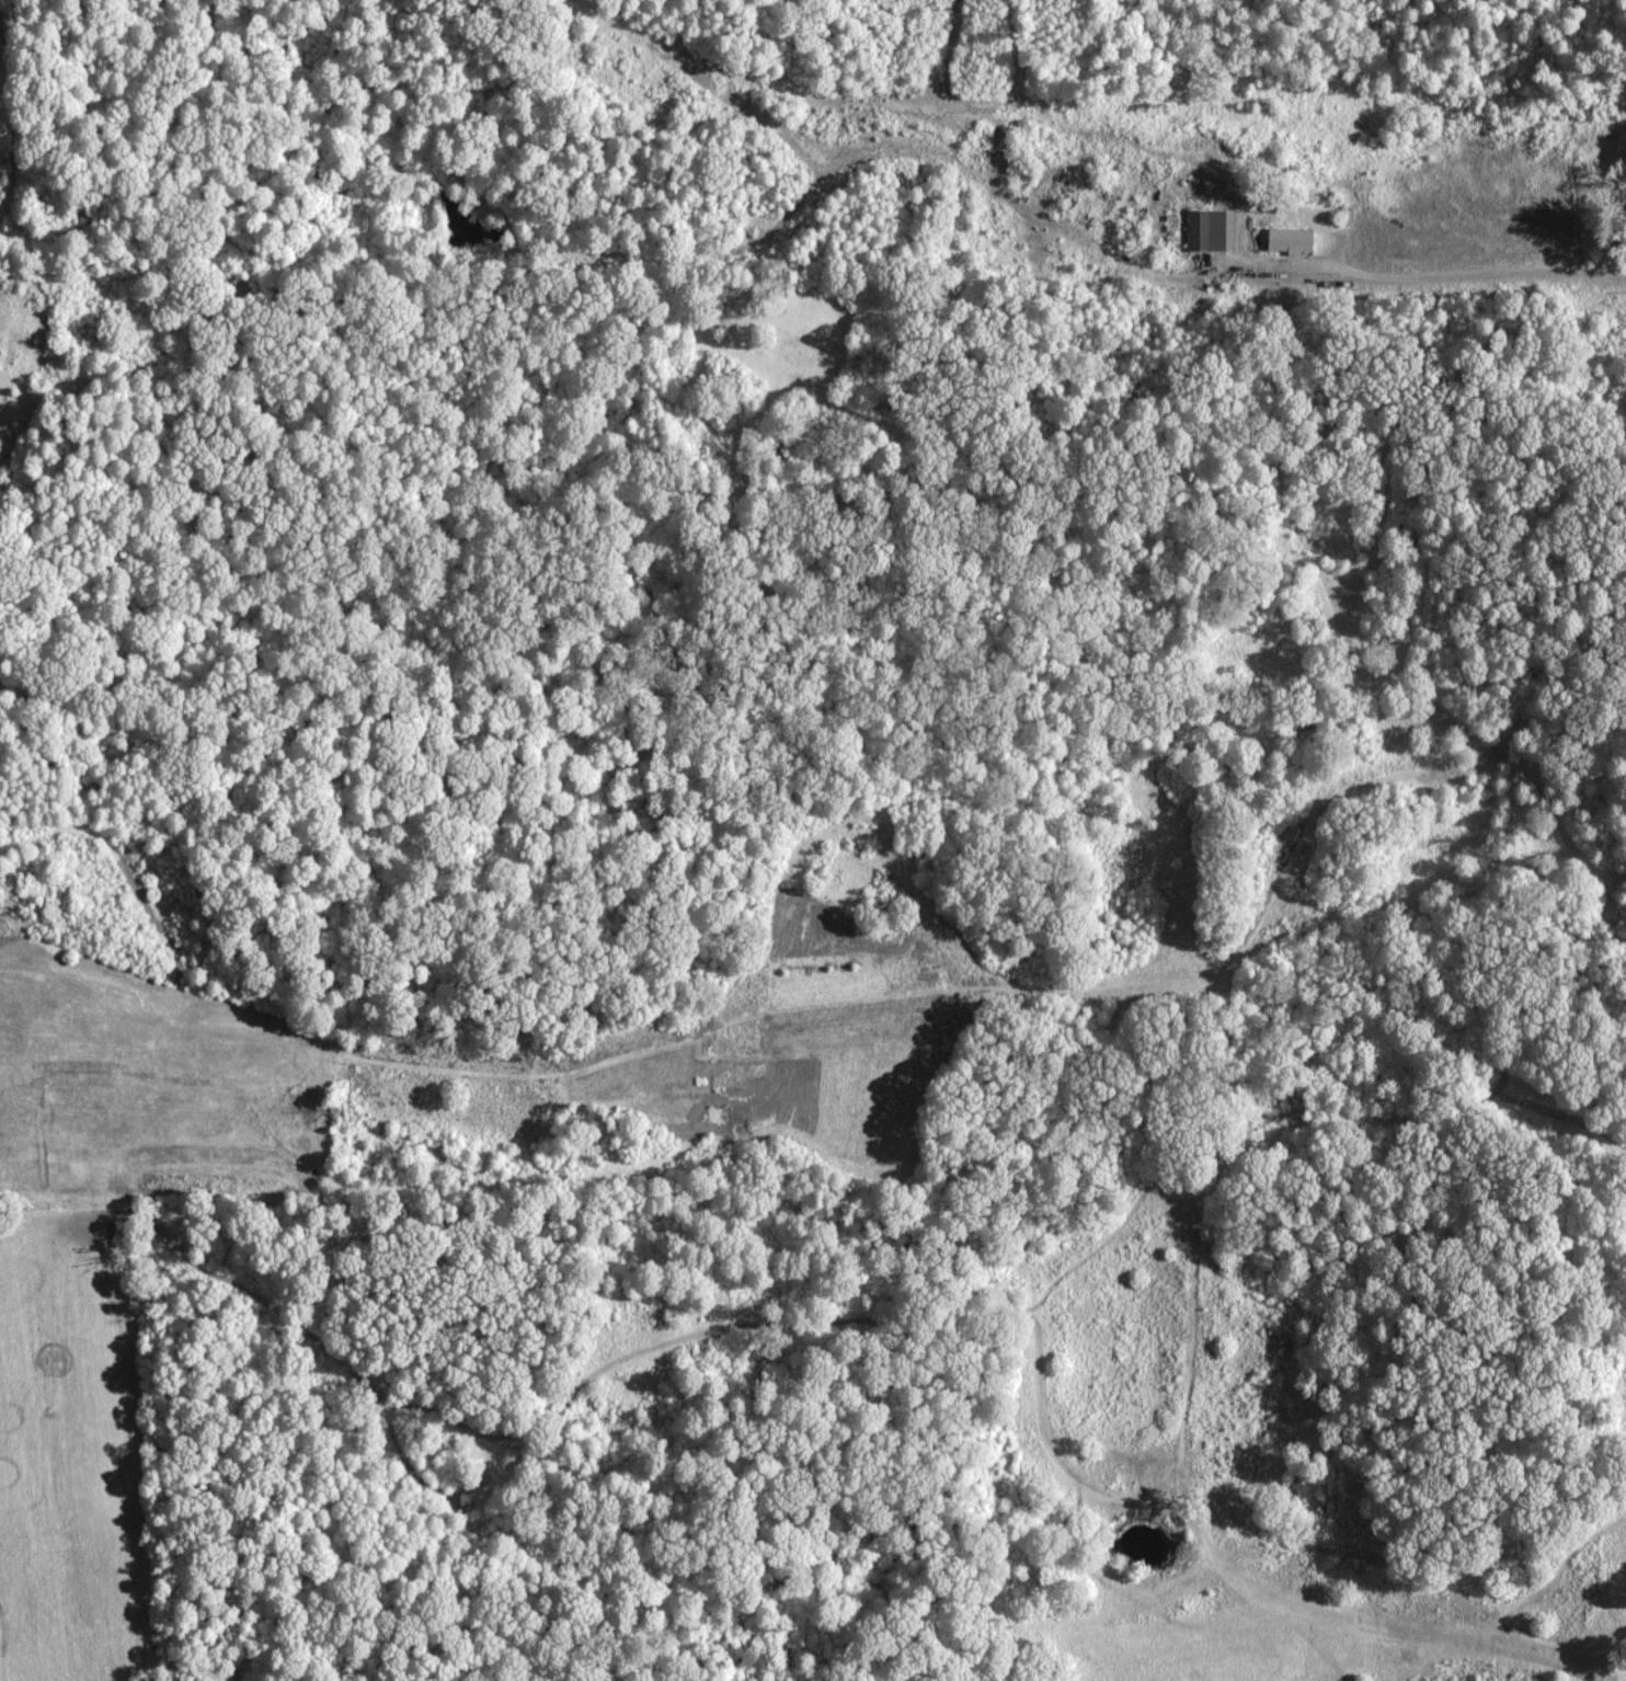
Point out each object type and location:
building: (1202, 231)
building: (1285, 242)

